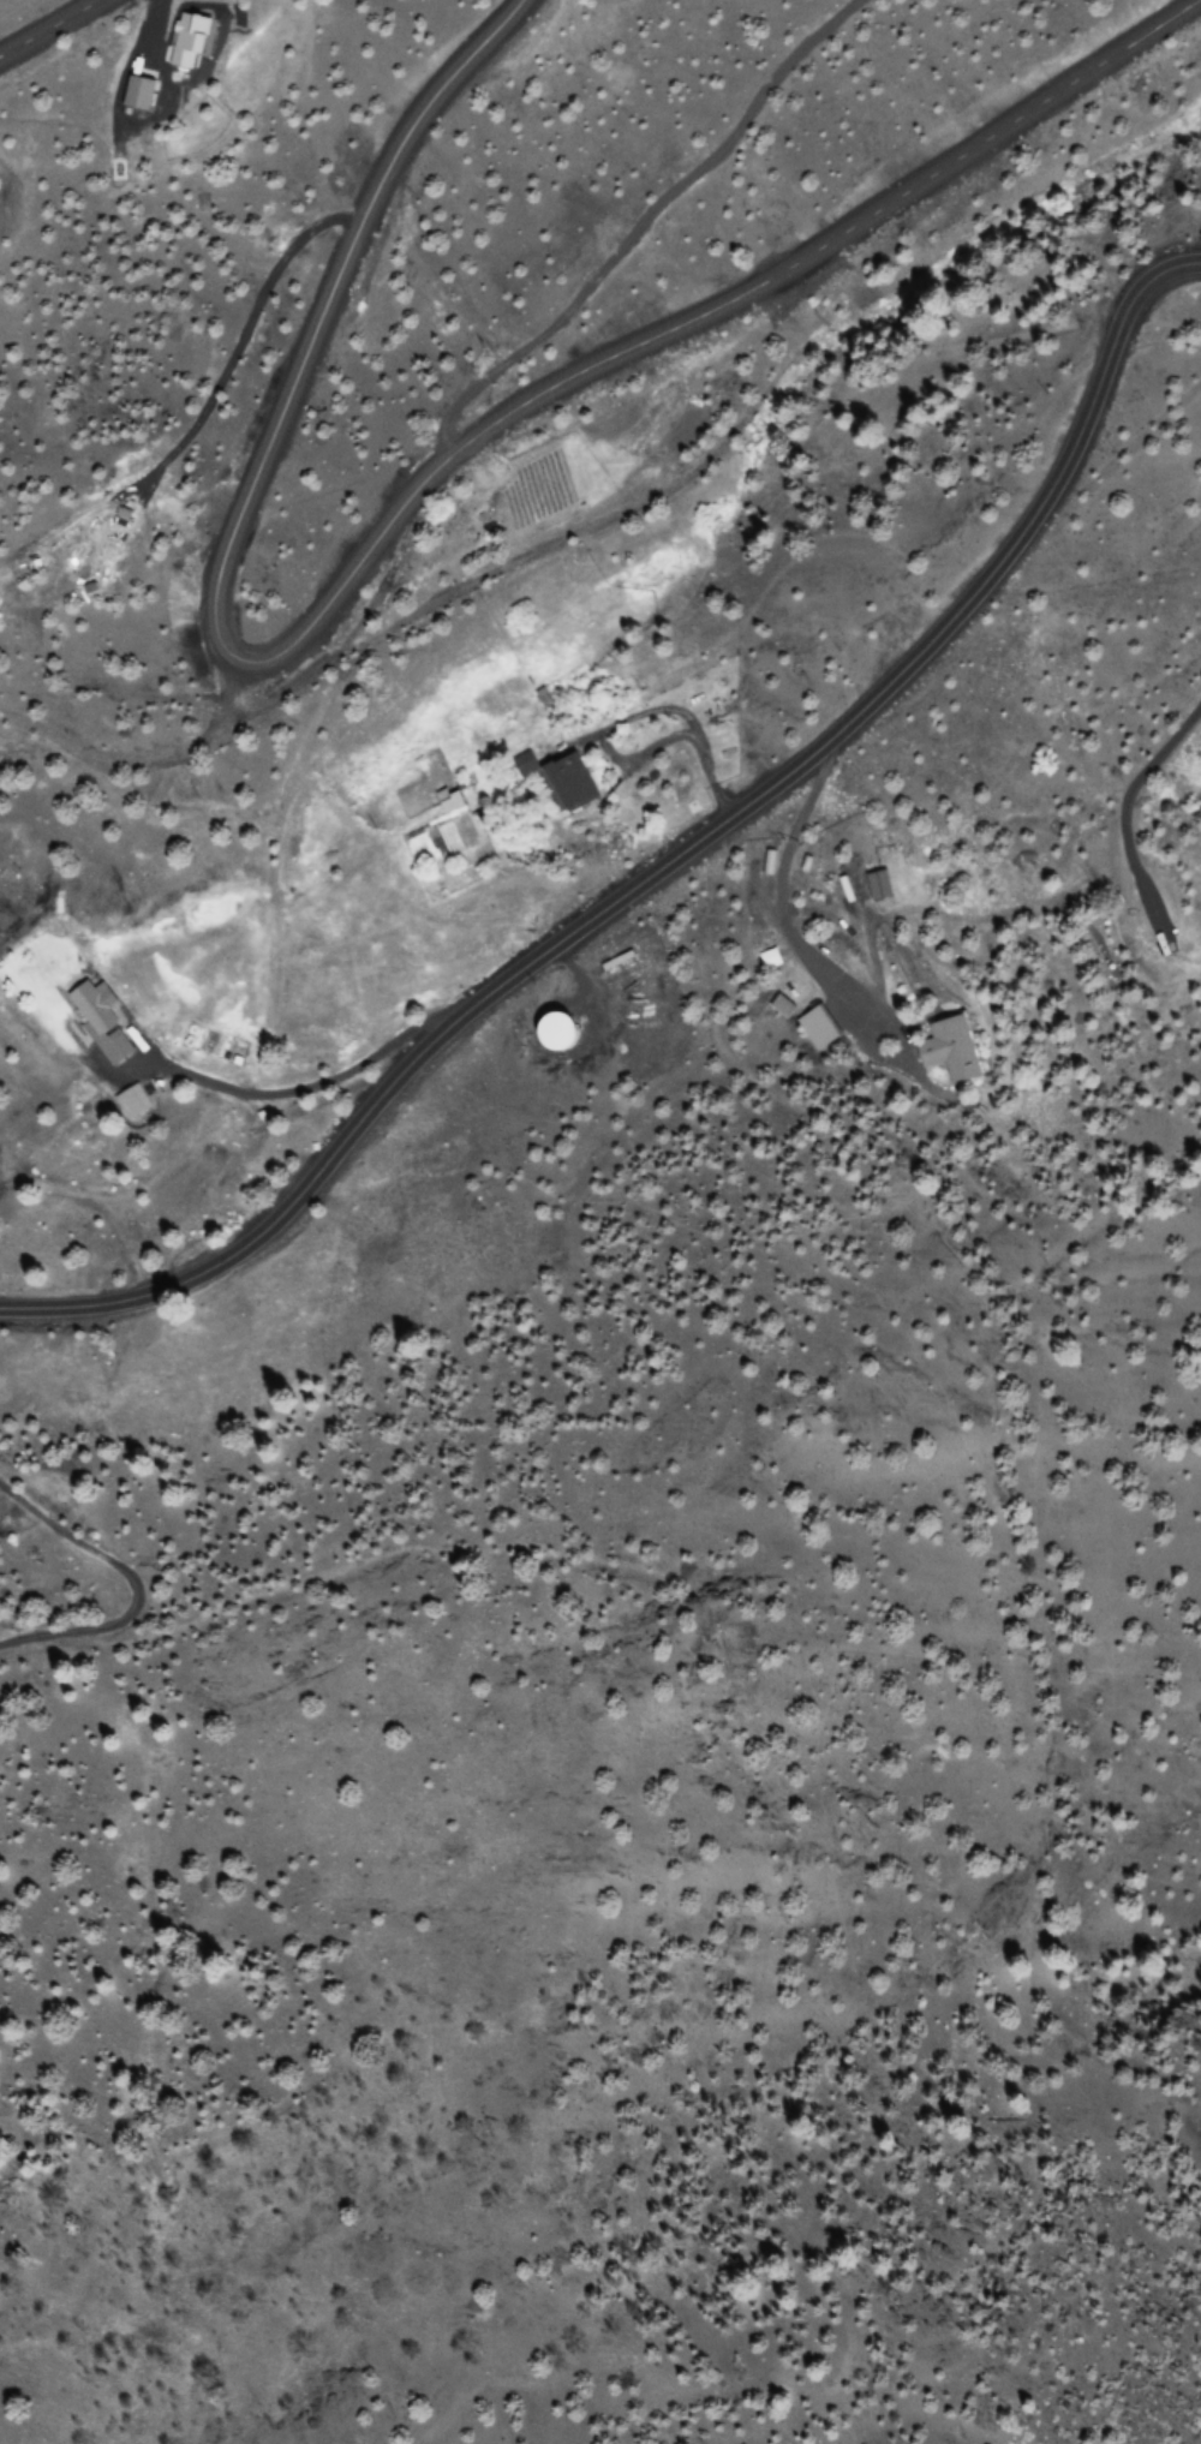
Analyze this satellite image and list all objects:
road: (53, 31)
building: (135, 92)
road: (390, 530)
building: (550, 781)
road: (667, 864)
building: (876, 885)
building: (97, 1018)
building: (815, 1028)
building: (546, 1032)
building: (943, 1050)

